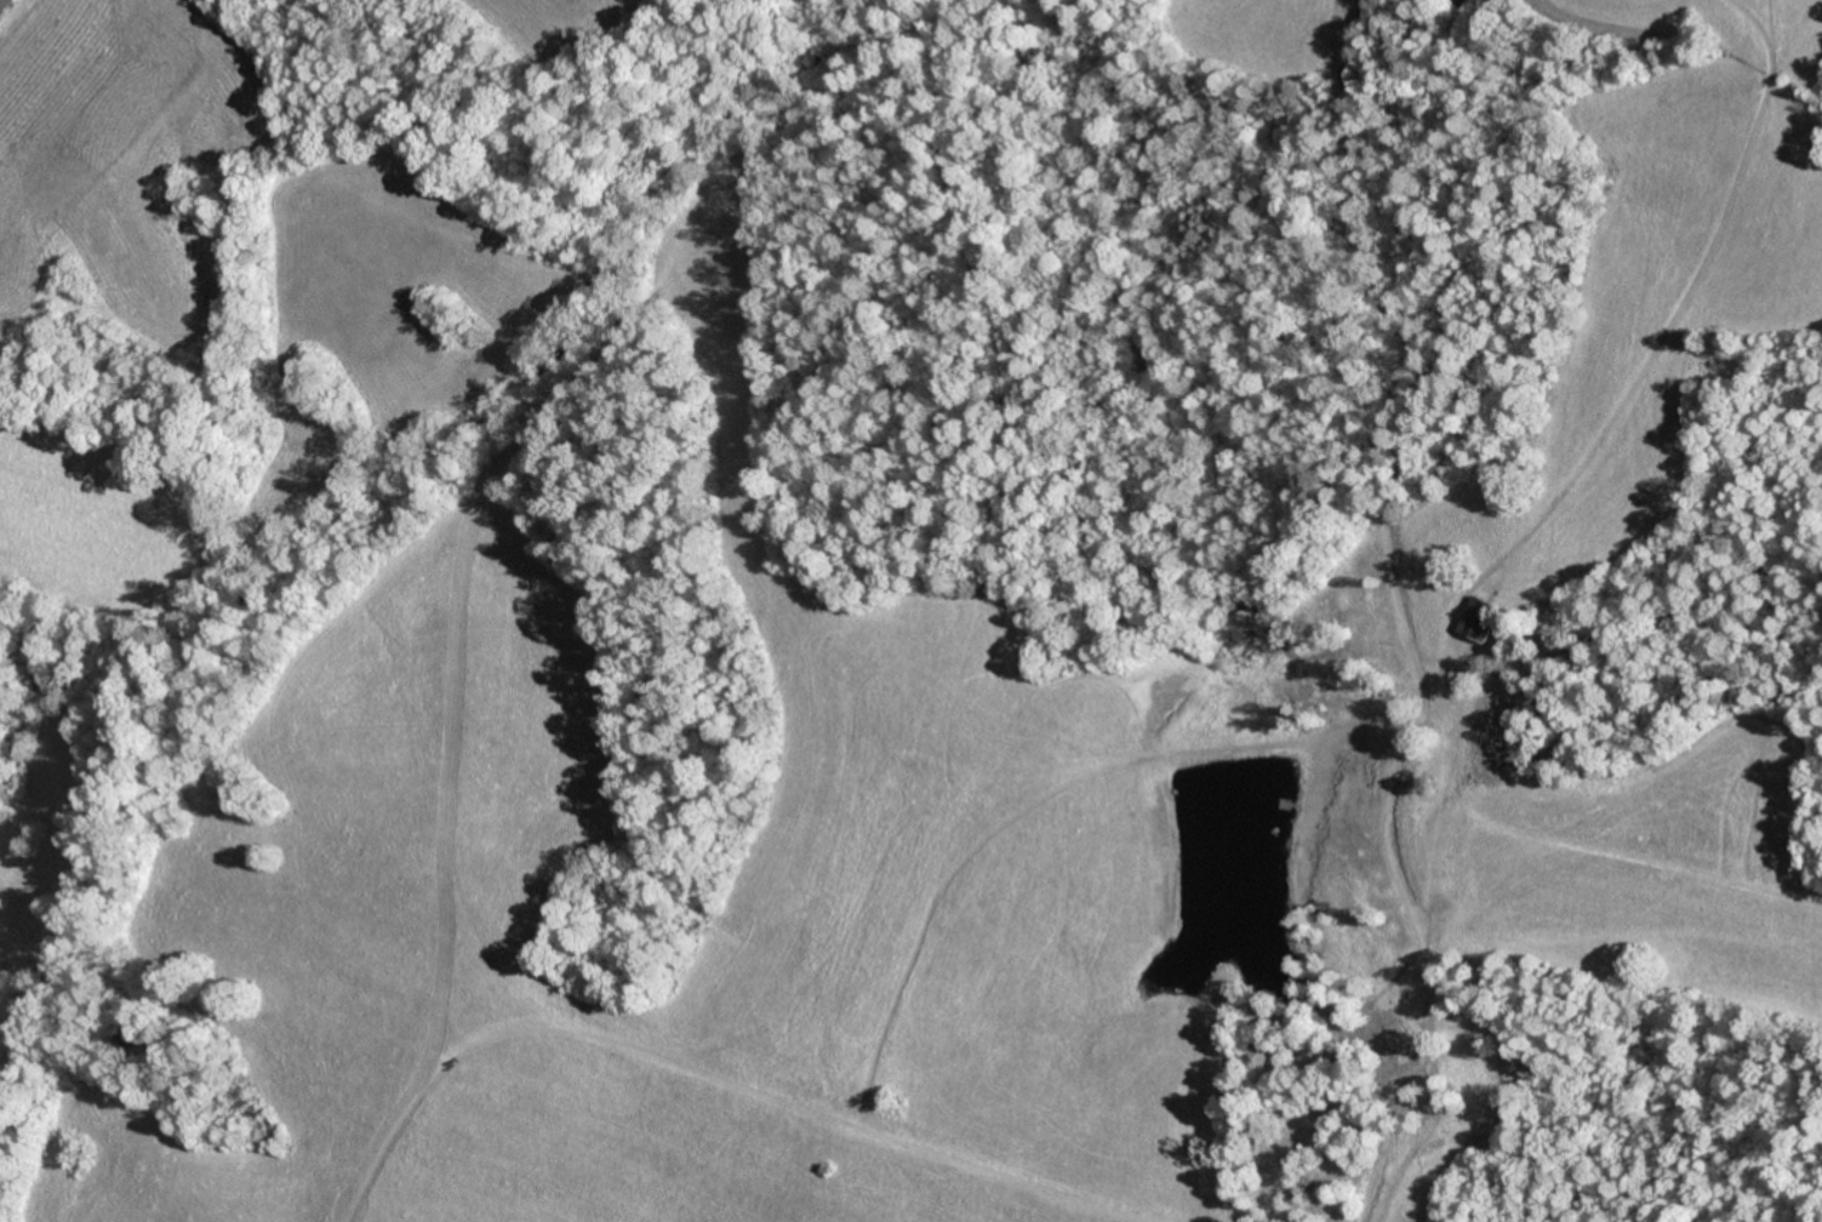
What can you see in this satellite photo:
building: (5, 8)
building: (1481, 618)

